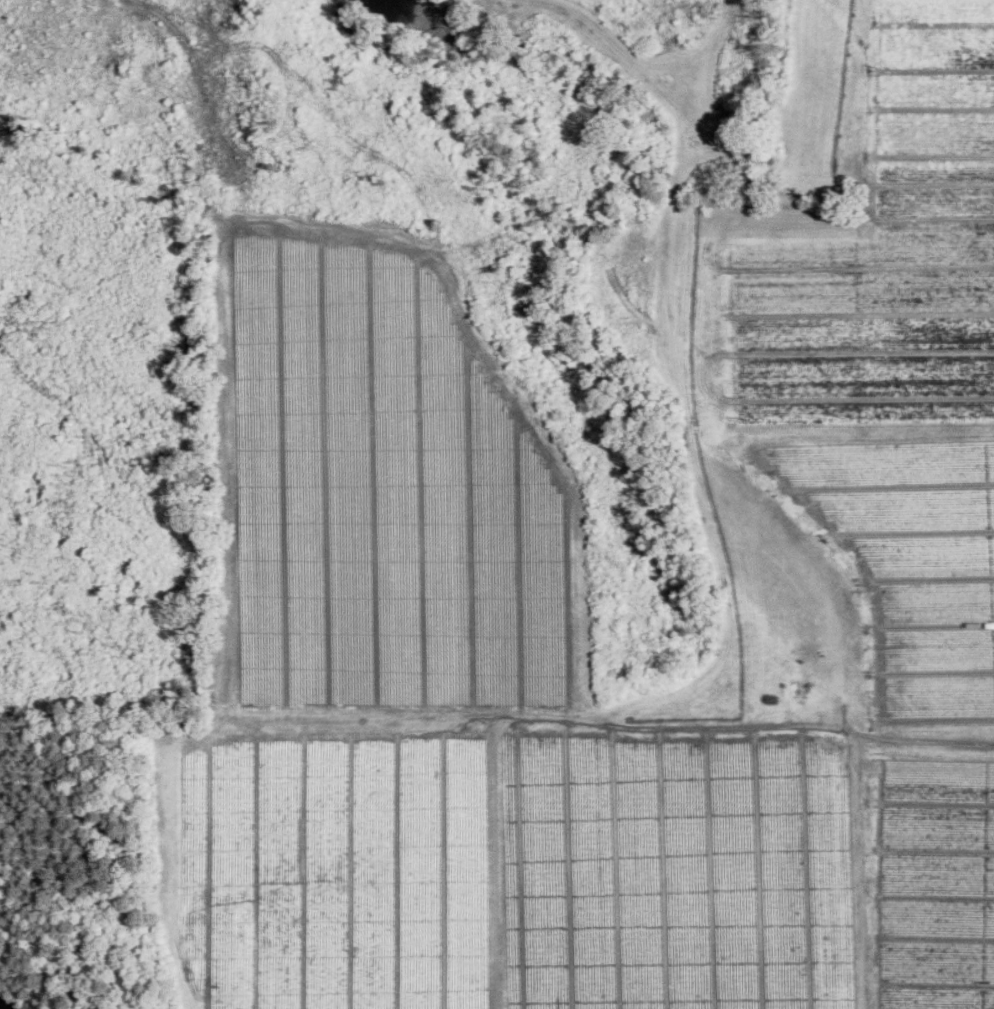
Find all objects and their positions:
road: (631, 725)

